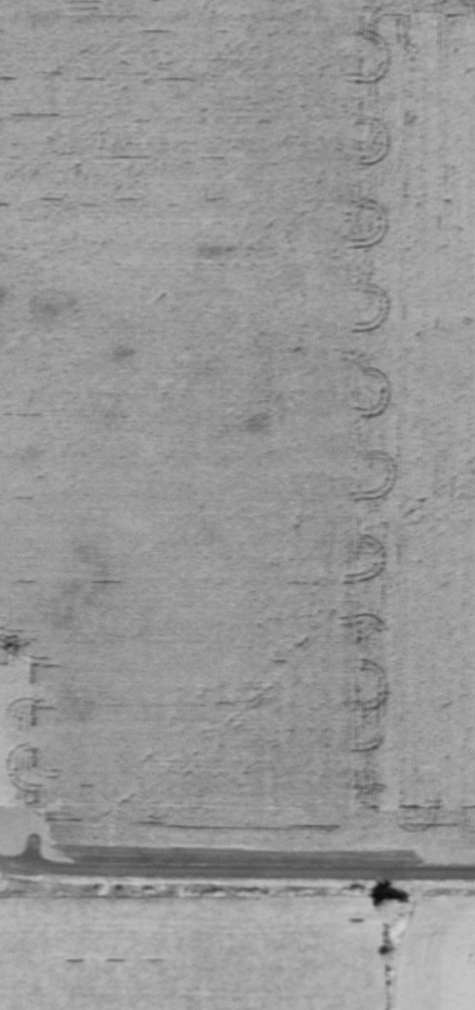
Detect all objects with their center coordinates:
road: (234, 895)

